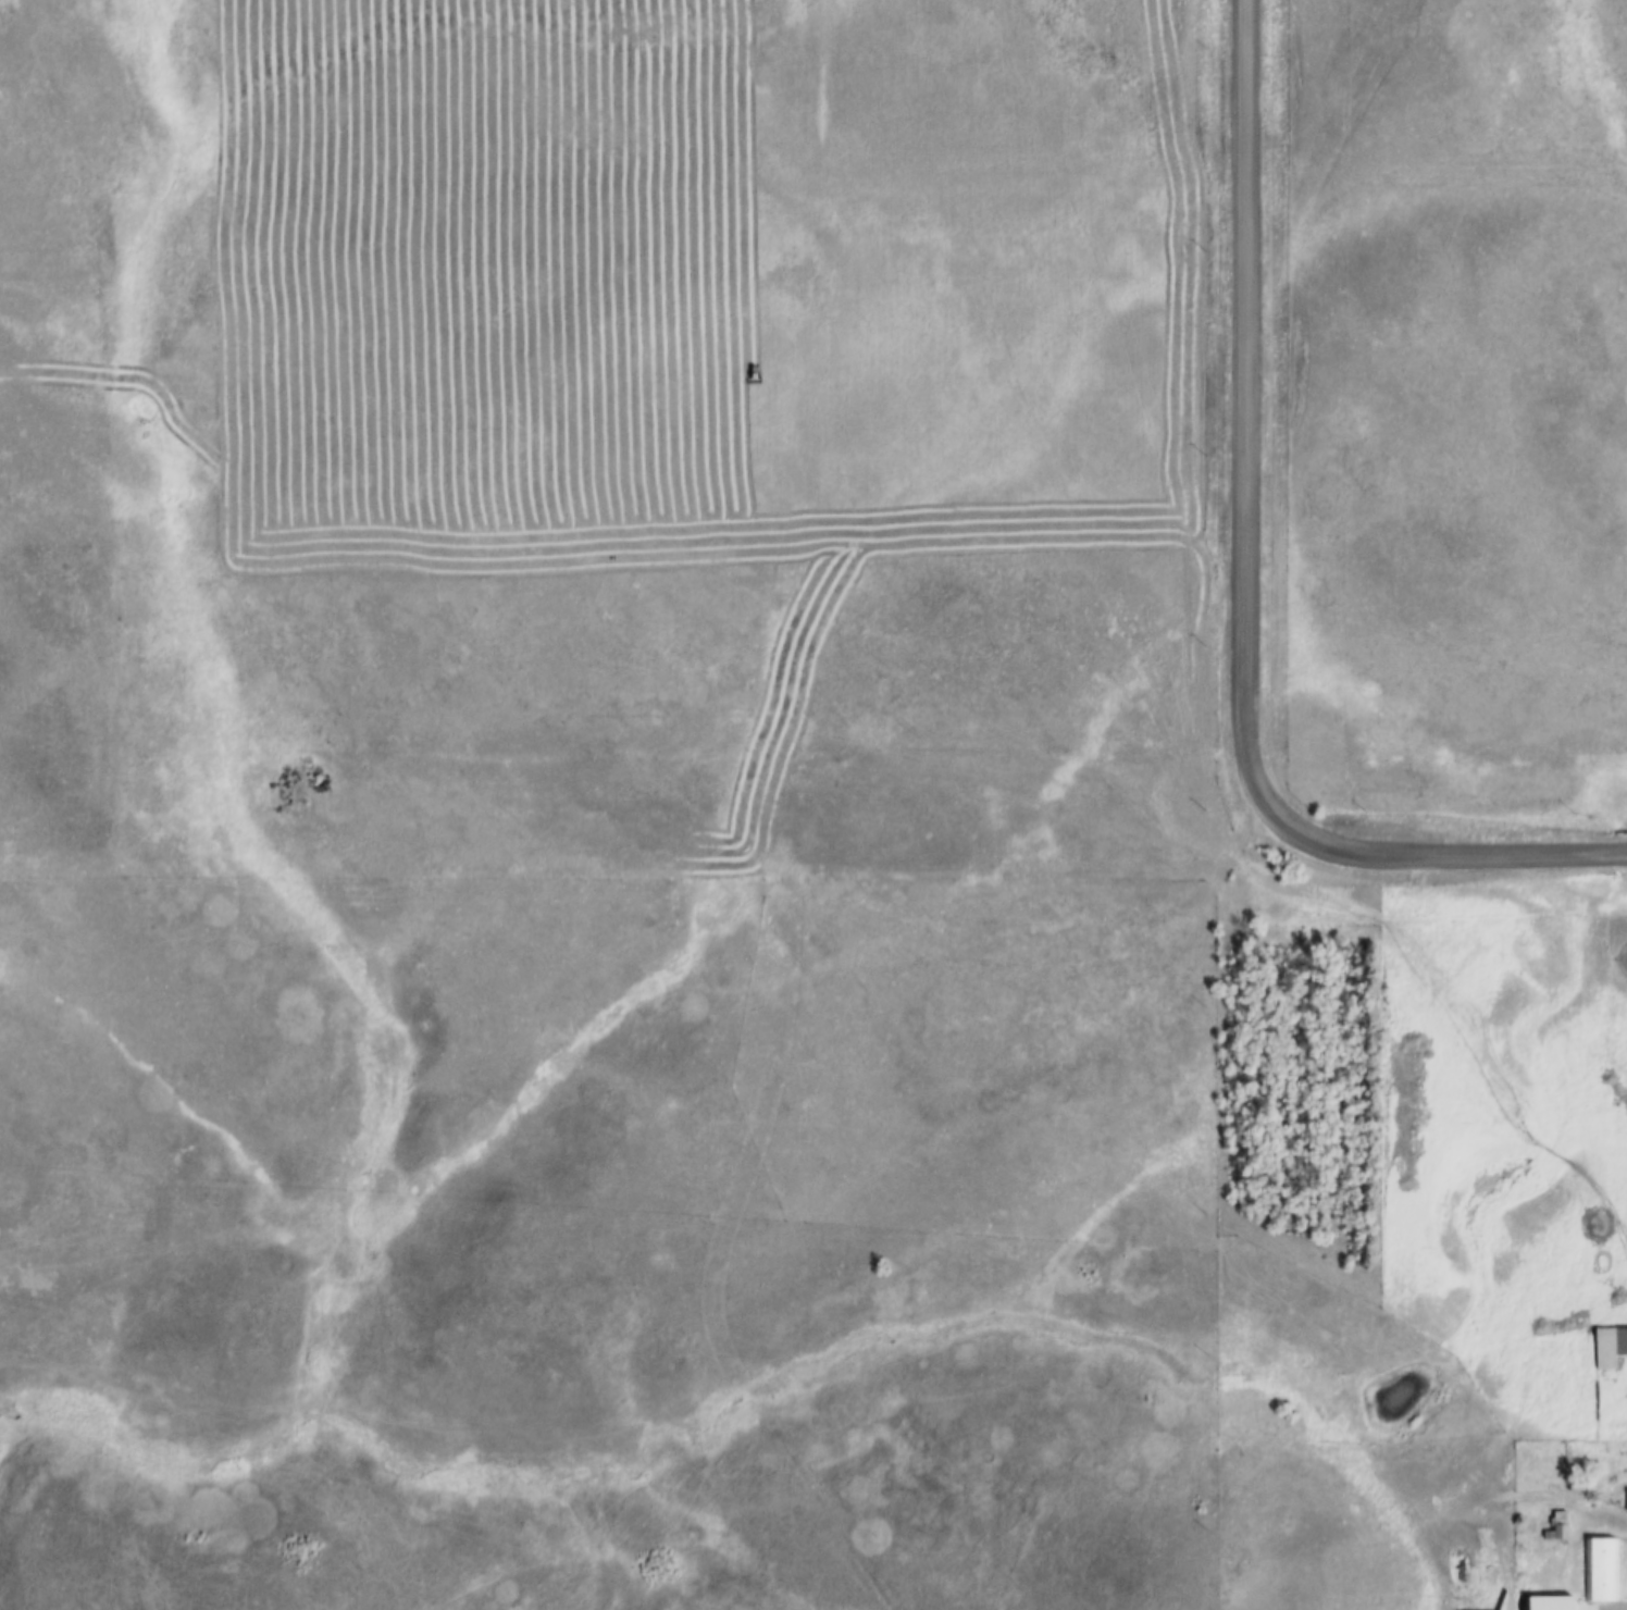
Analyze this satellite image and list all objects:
road: (1244, 594)
building: (1607, 1347)
building: (1624, 1500)
building: (1554, 1526)
building: (1599, 1570)
building: (1530, 1605)

